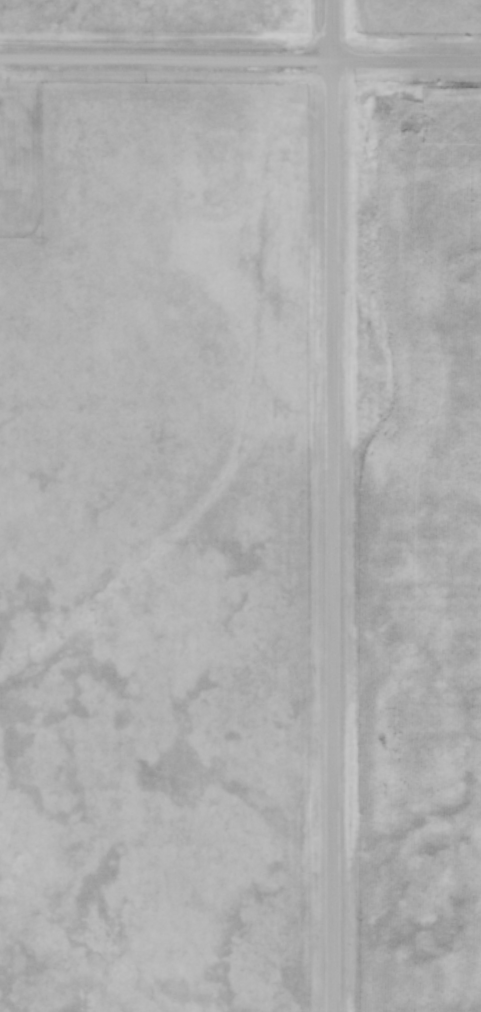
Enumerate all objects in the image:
road: (240, 59)
road: (334, 505)

